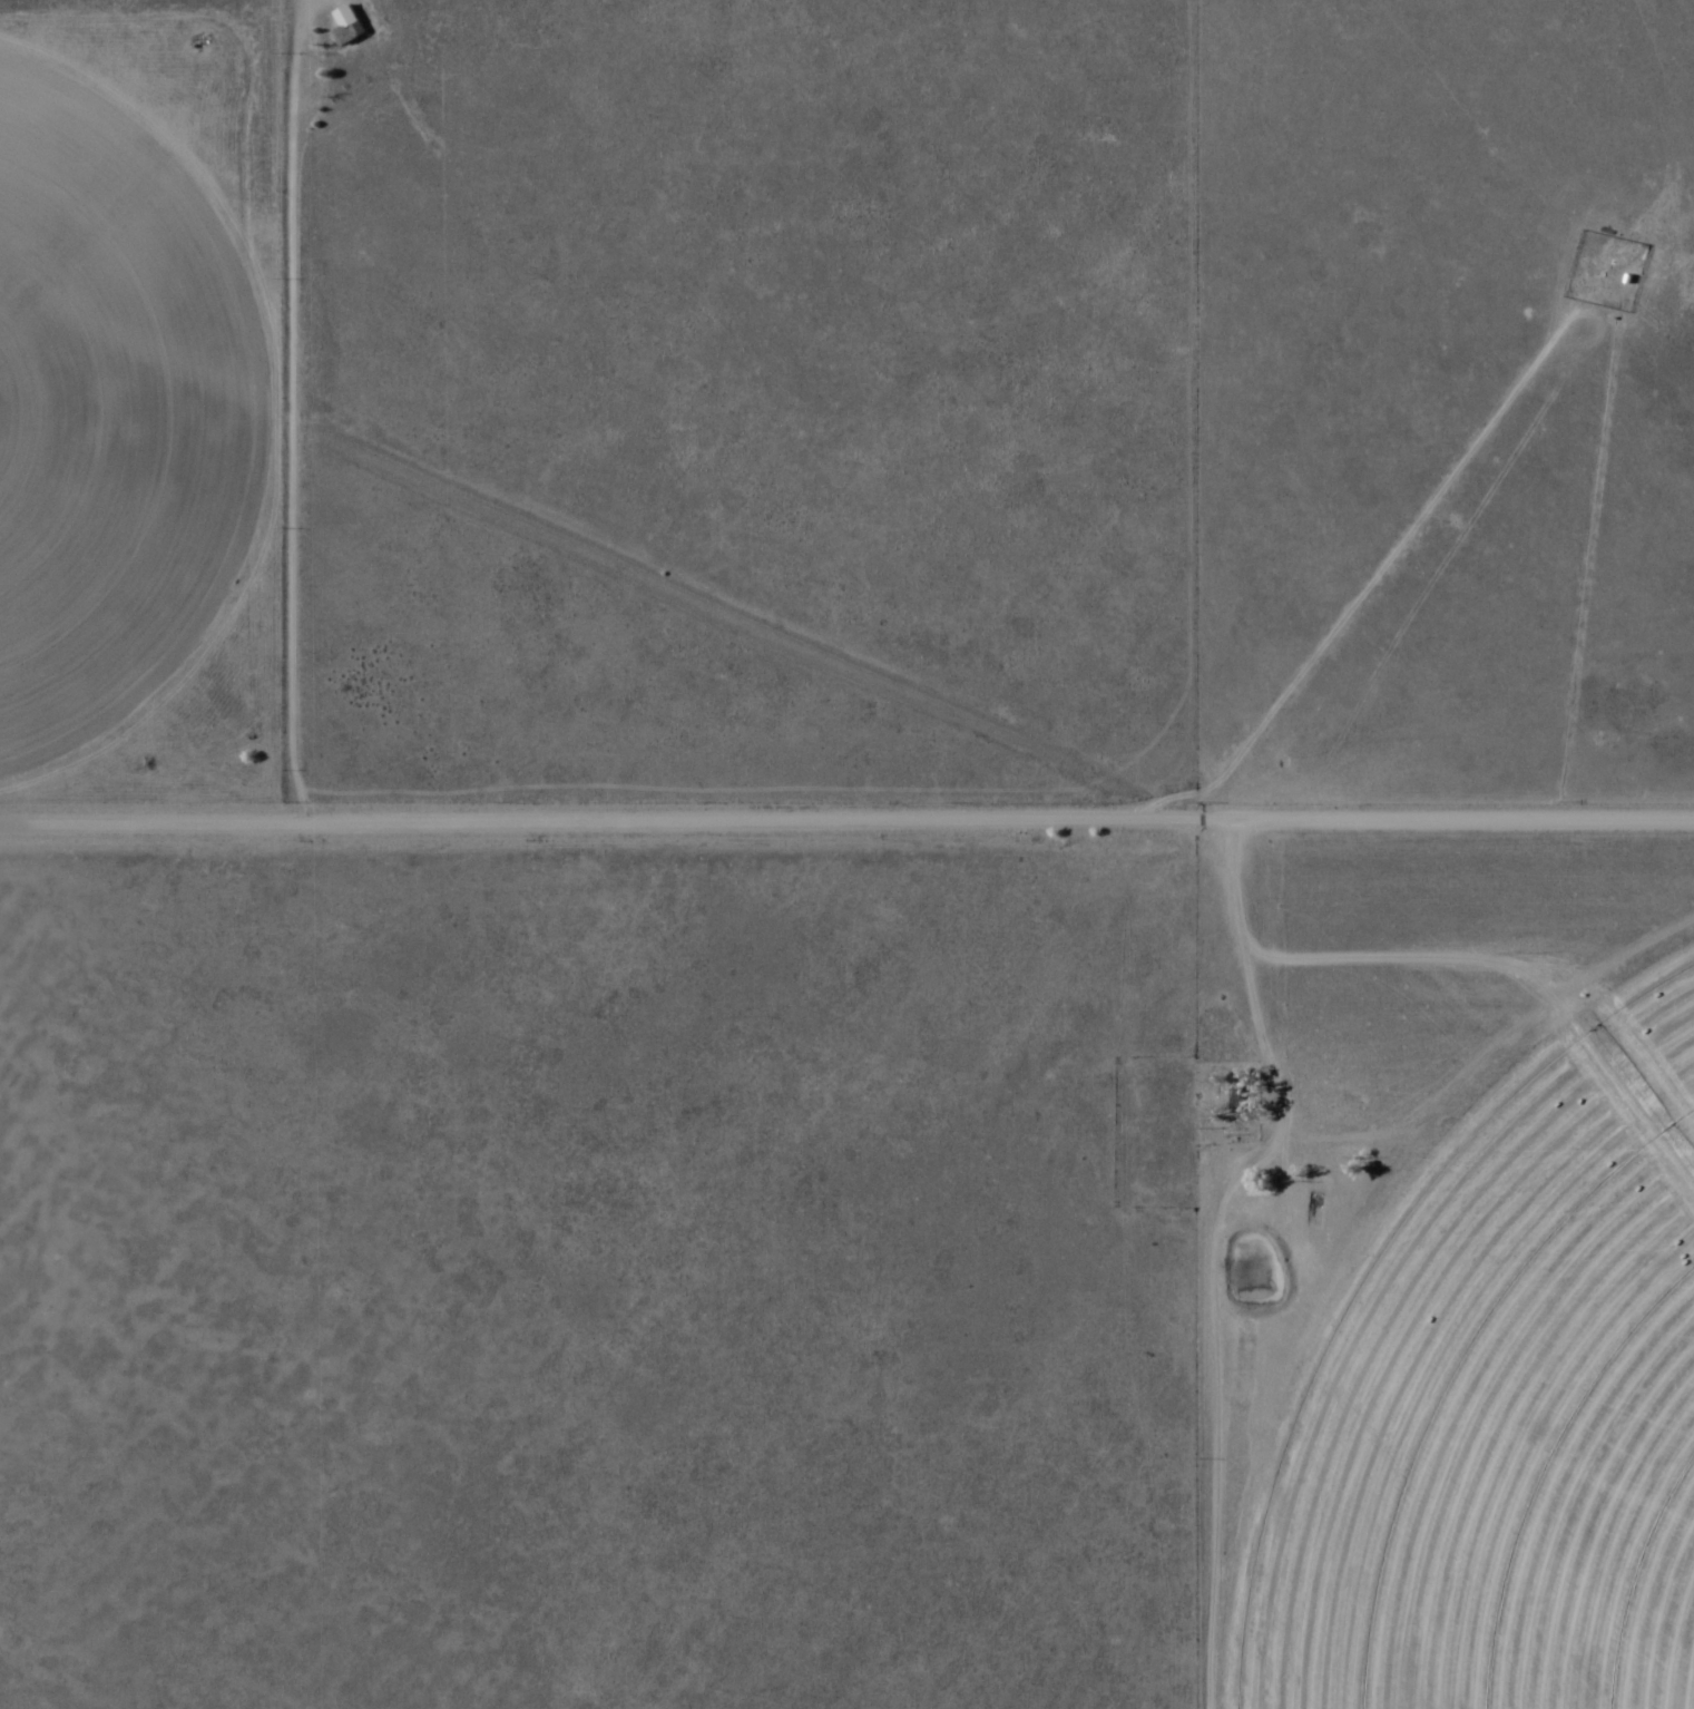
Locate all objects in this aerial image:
building: (347, 27)
road: (846, 824)
building: (1232, 1100)
road: (1213, 1257)
crop: (1482, 1365)

